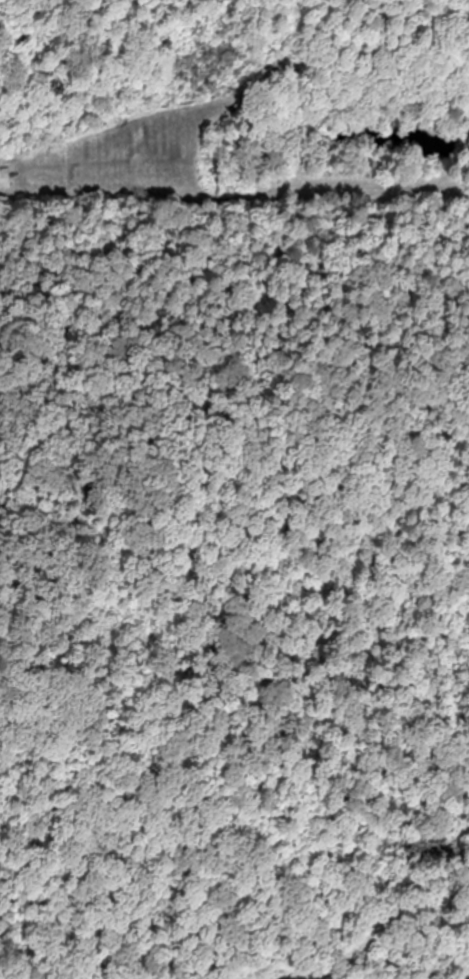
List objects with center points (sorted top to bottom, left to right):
building: (7, 183)

